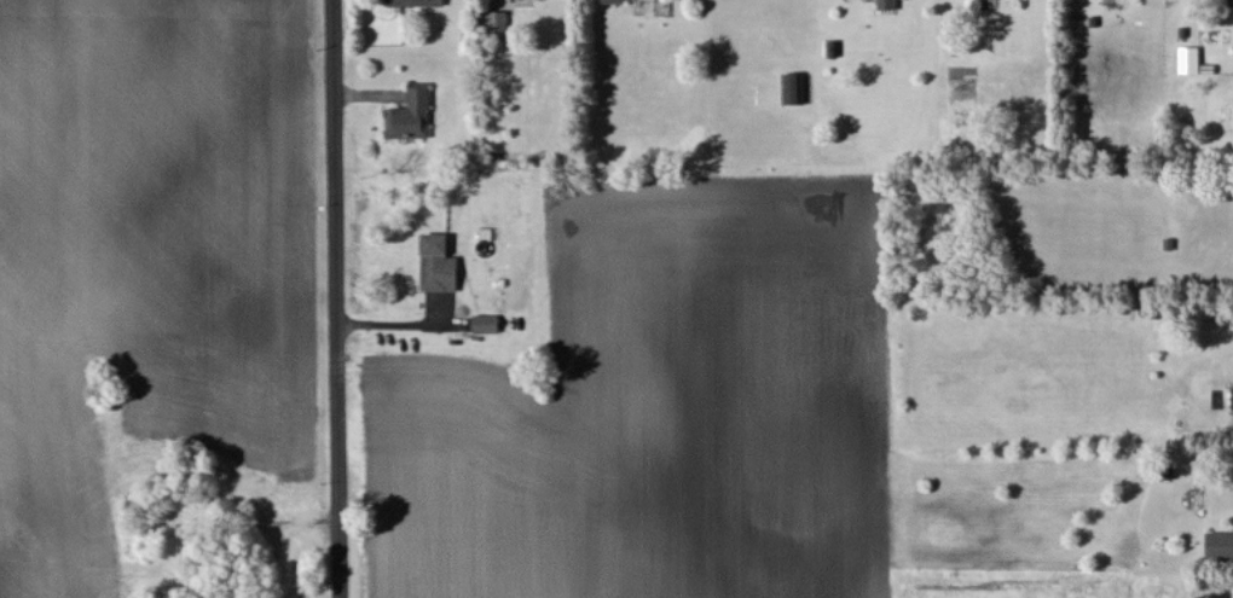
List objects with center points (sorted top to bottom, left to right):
building: (857, 0)
building: (620, 1)
building: (416, 4)
building: (1232, 4)
building: (888, 5)
building: (498, 23)
building: (1191, 62)
building: (795, 89)
building: (412, 116)
building: (439, 266)
road: (338, 298)
building: (487, 325)
building: (1221, 546)

